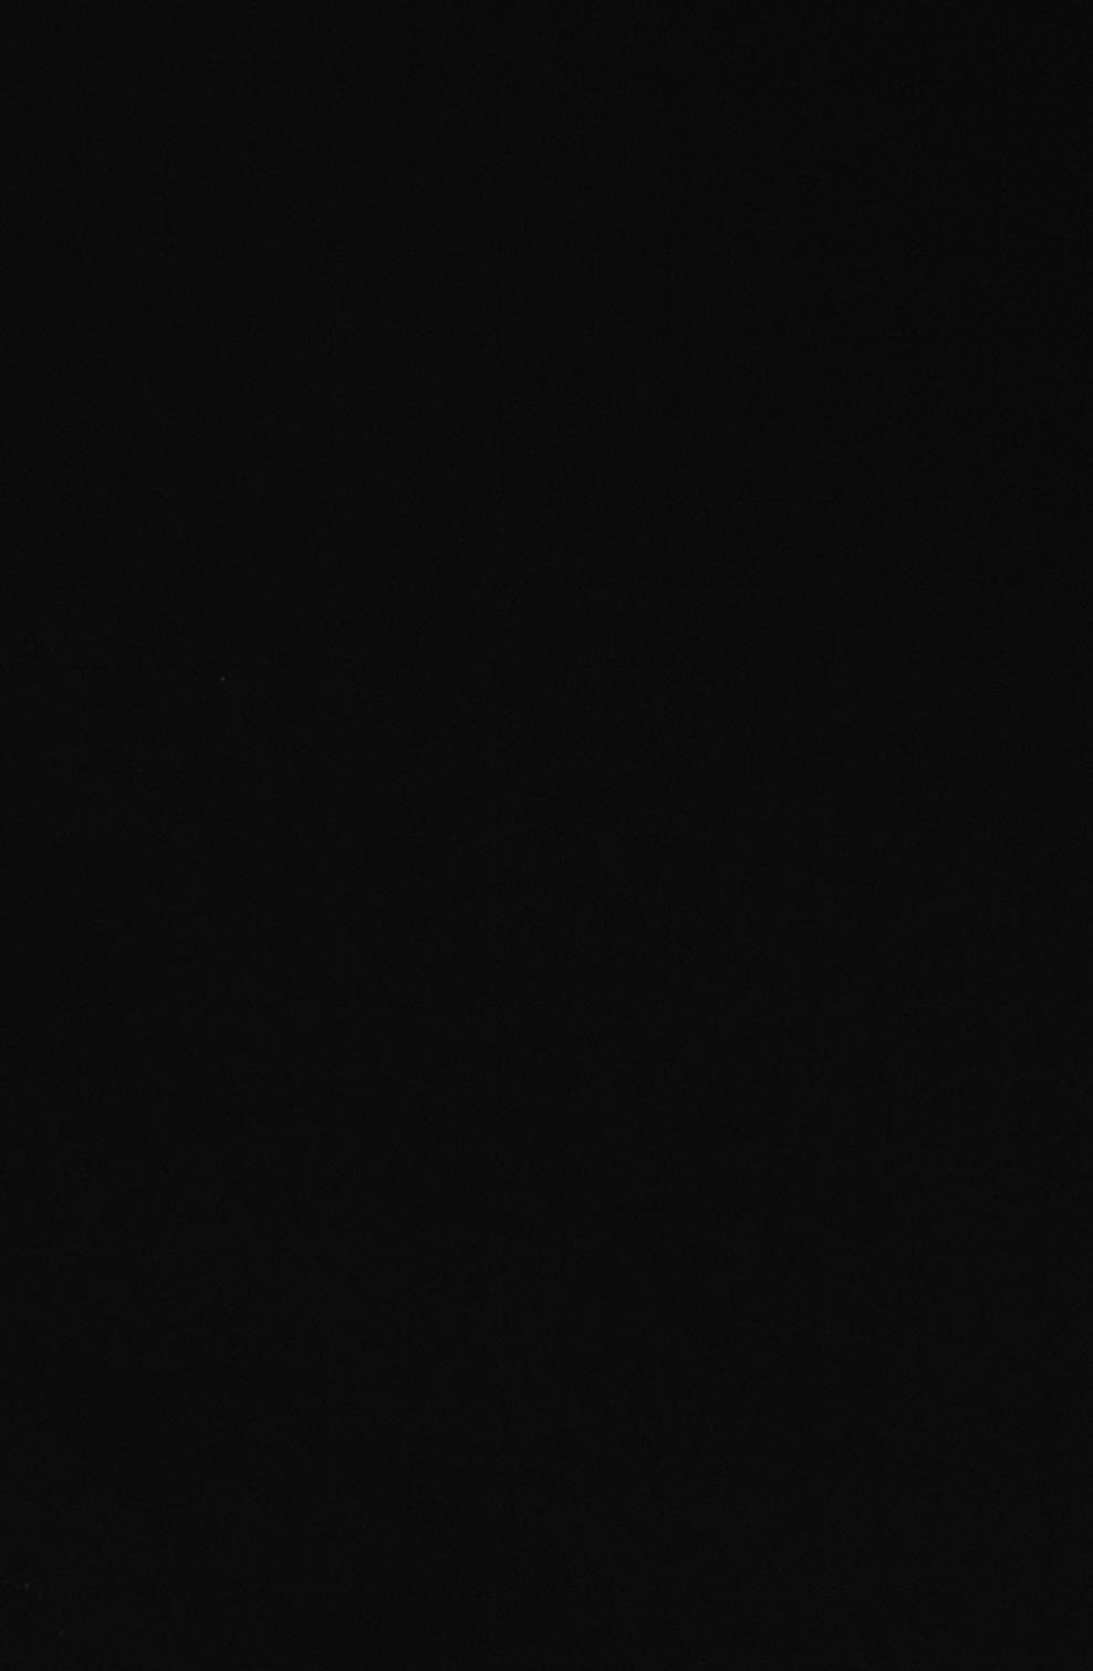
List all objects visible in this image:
river: (394, 1294)

